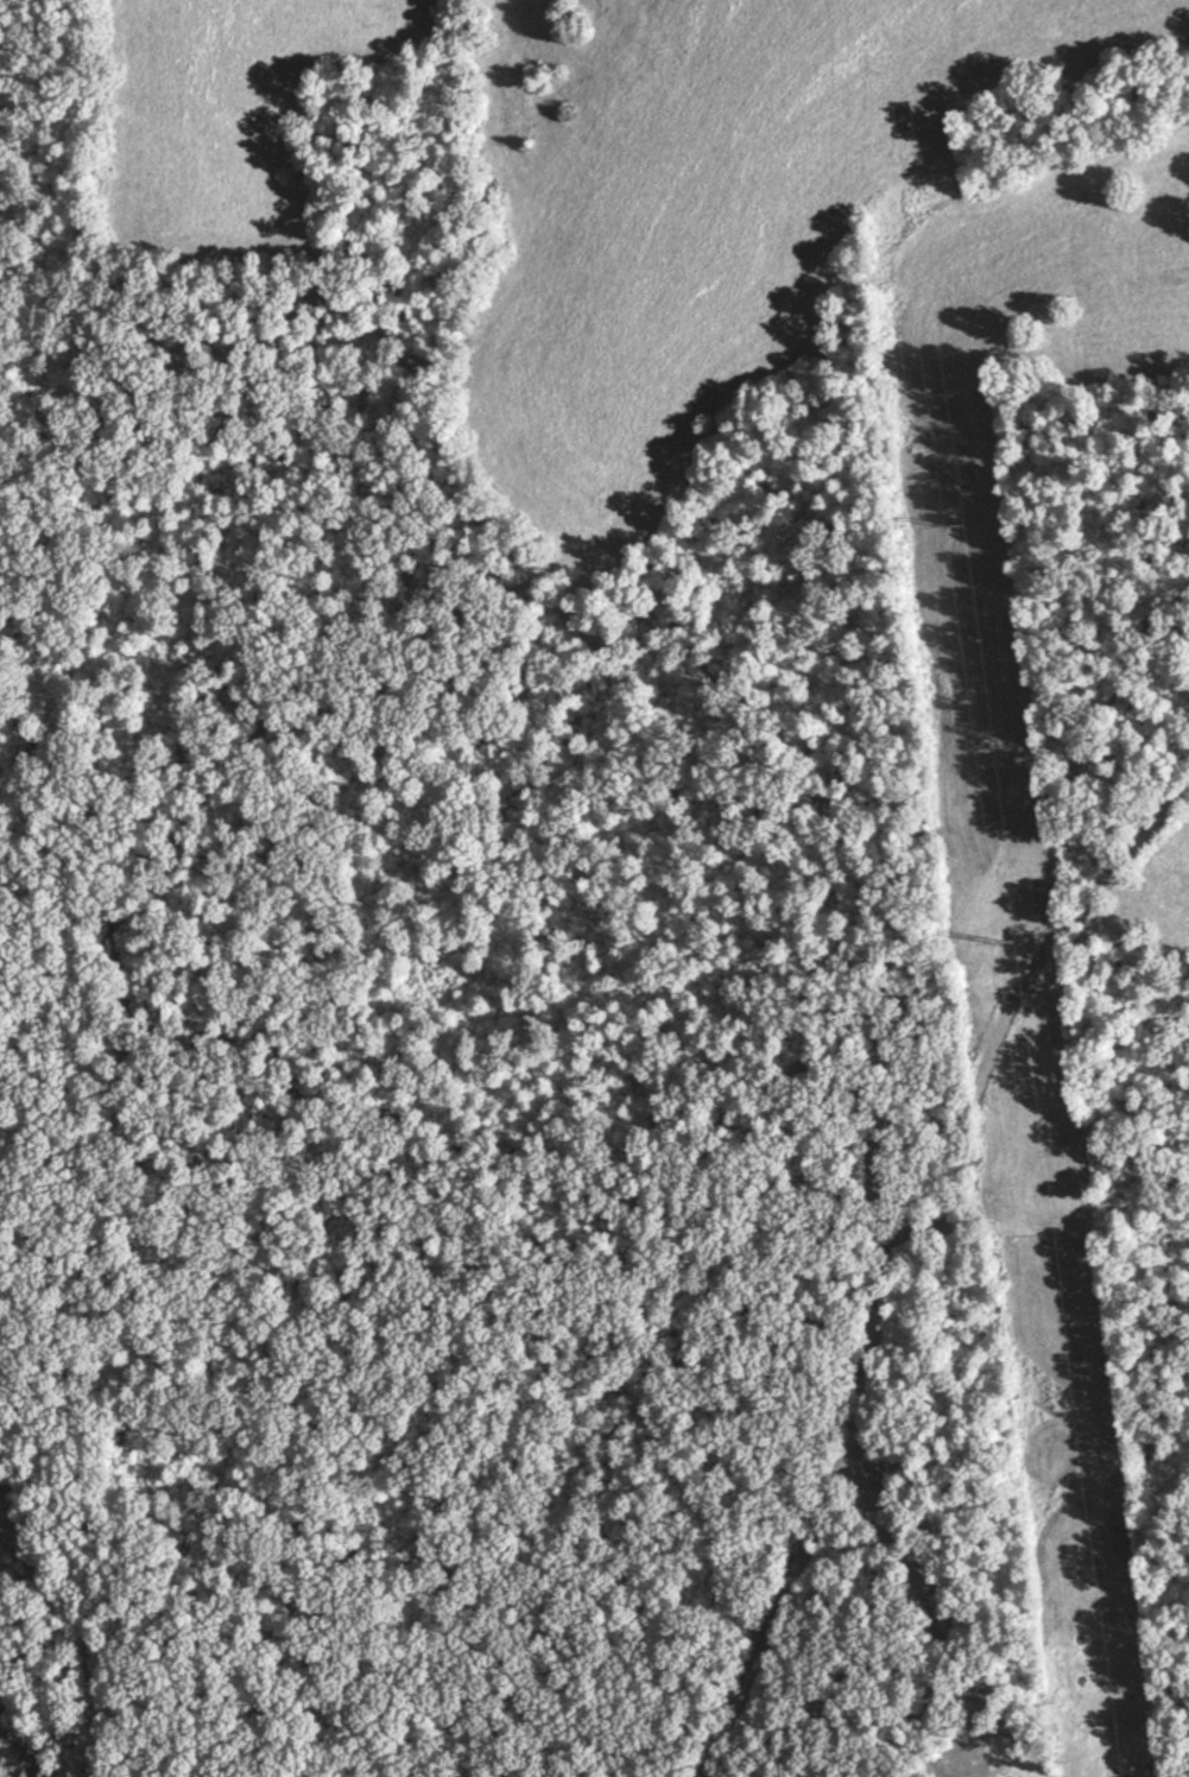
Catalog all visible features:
power tower: (949, 520)
power tower: (1005, 943)
road: (891, 1253)
road: (911, 1619)

